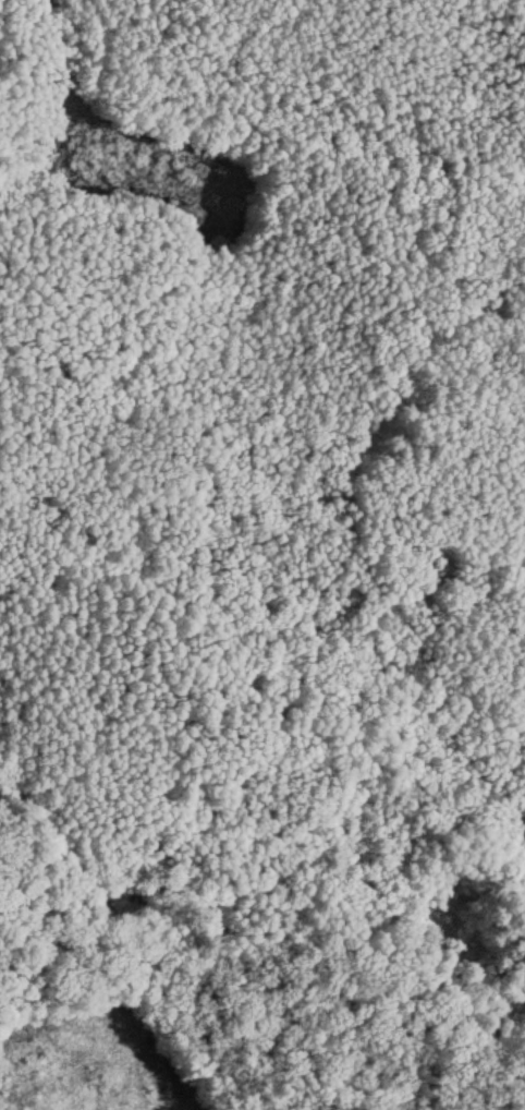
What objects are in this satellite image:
road: (406, 383)
road: (252, 620)

